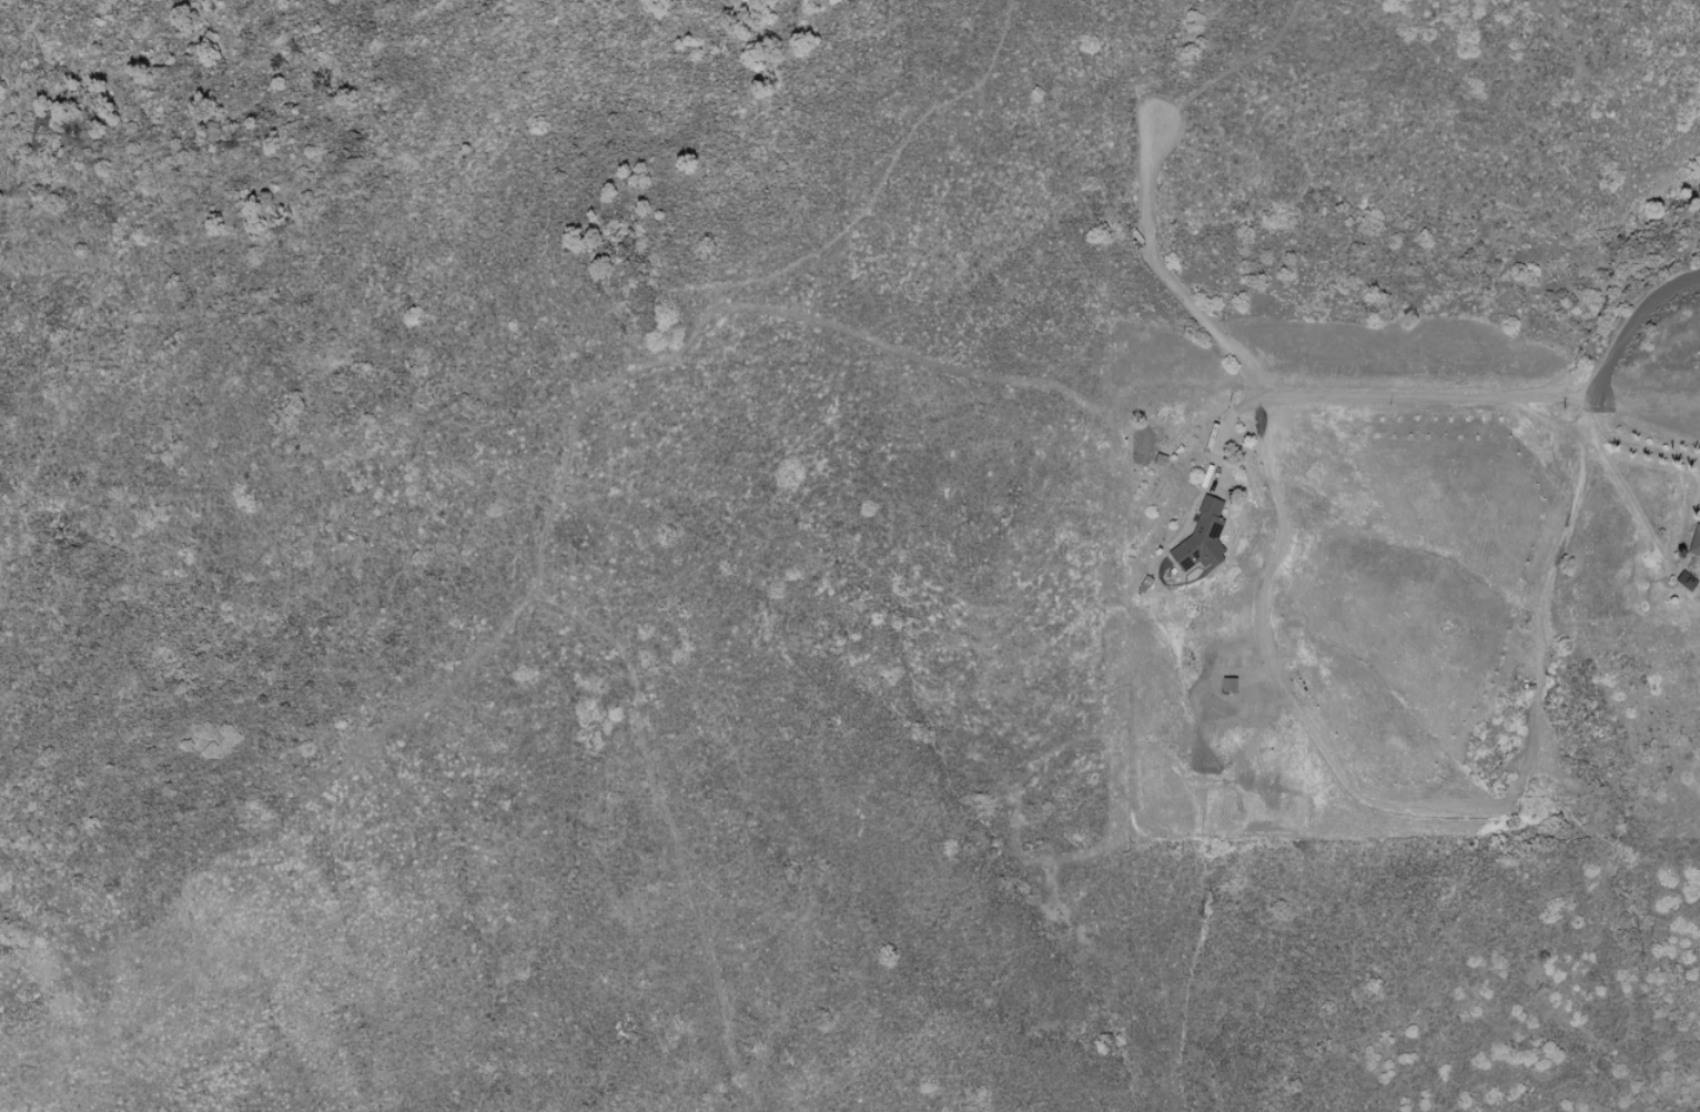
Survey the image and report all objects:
road: (1626, 340)
road: (1259, 386)
road: (1225, 423)
road: (1630, 446)
building: (1202, 537)
building: (1694, 542)

